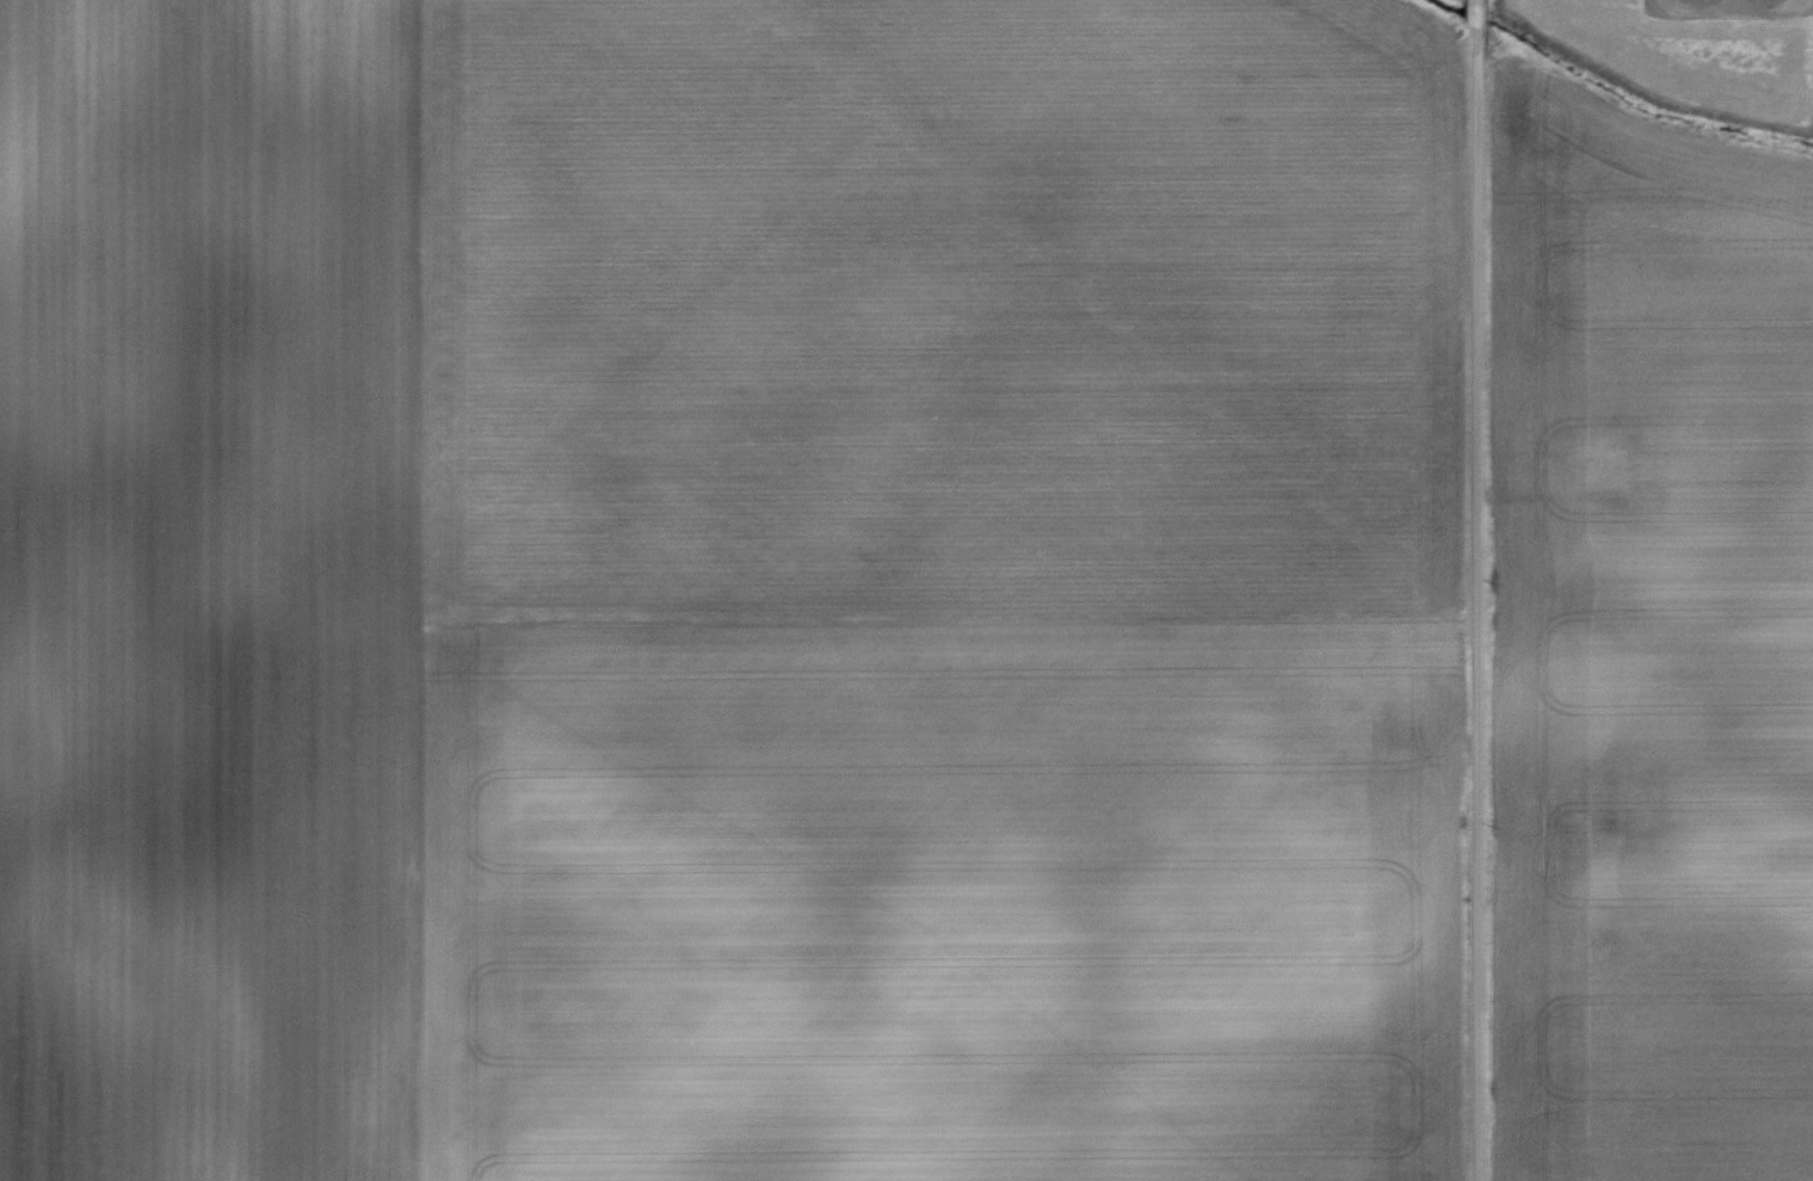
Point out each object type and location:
road: (1468, 590)

